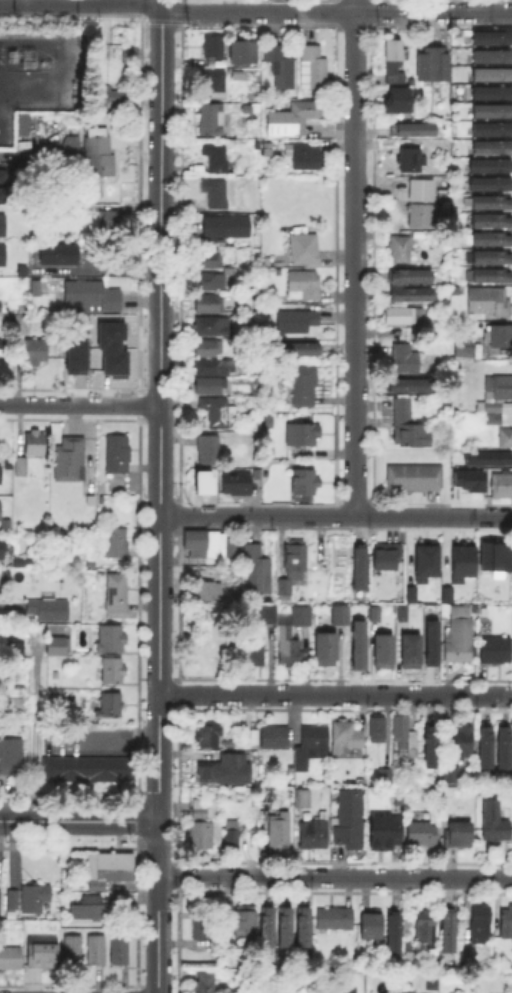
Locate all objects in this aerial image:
road: (81, 2)
road: (162, 4)
road: (433, 12)
road: (258, 13)
building: (493, 38)
building: (214, 47)
building: (243, 52)
building: (131, 54)
building: (393, 57)
building: (493, 57)
building: (435, 65)
building: (283, 66)
building: (314, 70)
power substation: (38, 74)
building: (493, 76)
building: (217, 82)
building: (490, 91)
building: (113, 94)
building: (399, 99)
building: (248, 109)
building: (493, 113)
building: (296, 119)
building: (214, 121)
building: (493, 130)
building: (416, 131)
building: (269, 149)
building: (493, 149)
building: (72, 151)
building: (96, 152)
building: (217, 156)
building: (308, 157)
building: (412, 159)
building: (492, 164)
building: (1, 174)
building: (492, 183)
building: (422, 191)
building: (2, 193)
building: (218, 193)
building: (493, 203)
building: (78, 211)
building: (424, 216)
building: (492, 223)
building: (111, 224)
building: (3, 226)
building: (228, 227)
building: (493, 241)
building: (402, 249)
building: (306, 250)
building: (61, 255)
building: (3, 256)
road: (355, 257)
building: (492, 259)
building: (211, 260)
building: (492, 277)
building: (412, 278)
building: (212, 282)
building: (305, 284)
building: (95, 295)
building: (412, 295)
building: (490, 302)
building: (1, 305)
building: (210, 306)
building: (405, 315)
building: (20, 319)
building: (299, 321)
building: (214, 327)
building: (108, 334)
building: (501, 338)
building: (467, 348)
building: (206, 349)
building: (74, 350)
building: (296, 350)
building: (36, 352)
building: (3, 356)
building: (406, 361)
building: (112, 362)
building: (214, 368)
building: (304, 386)
building: (210, 387)
building: (411, 387)
building: (497, 395)
road: (80, 404)
building: (215, 413)
road: (160, 414)
building: (494, 421)
building: (409, 427)
building: (303, 435)
building: (506, 437)
building: (36, 444)
building: (209, 449)
building: (118, 454)
building: (486, 457)
building: (70, 459)
building: (22, 467)
building: (1, 475)
building: (416, 478)
building: (466, 480)
building: (237, 484)
building: (306, 484)
building: (501, 487)
building: (1, 510)
road: (336, 515)
building: (208, 543)
building: (119, 544)
building: (3, 550)
building: (493, 555)
building: (389, 559)
building: (20, 560)
building: (423, 560)
building: (460, 561)
building: (357, 564)
building: (293, 567)
building: (232, 568)
building: (259, 571)
building: (3, 572)
building: (209, 591)
building: (118, 593)
building: (409, 593)
building: (445, 593)
building: (50, 610)
building: (372, 612)
building: (270, 614)
building: (339, 614)
building: (304, 615)
building: (398, 619)
building: (458, 639)
building: (112, 640)
building: (429, 642)
building: (209, 643)
building: (356, 643)
building: (15, 644)
building: (58, 647)
building: (290, 647)
building: (380, 649)
building: (252, 650)
building: (328, 650)
building: (496, 651)
building: (406, 655)
building: (114, 672)
road: (335, 693)
building: (113, 705)
building: (376, 726)
road: (35, 729)
road: (118, 731)
building: (345, 733)
building: (274, 736)
building: (210, 737)
building: (407, 739)
building: (461, 741)
building: (484, 743)
building: (502, 743)
building: (230, 744)
building: (310, 744)
building: (430, 744)
building: (11, 757)
building: (225, 767)
building: (88, 771)
building: (383, 775)
building: (452, 776)
building: (264, 795)
building: (301, 796)
building: (387, 800)
building: (205, 810)
building: (348, 817)
building: (494, 820)
road: (79, 821)
building: (278, 828)
building: (382, 830)
building: (312, 834)
building: (424, 835)
building: (461, 836)
building: (200, 837)
building: (230, 837)
building: (109, 866)
road: (335, 877)
building: (13, 899)
building: (0, 900)
building: (35, 900)
building: (92, 906)
road: (158, 906)
building: (338, 920)
building: (243, 921)
building: (479, 921)
building: (370, 924)
building: (265, 925)
building: (507, 925)
building: (283, 926)
building: (302, 926)
building: (447, 926)
building: (427, 927)
building: (204, 930)
building: (393, 931)
building: (496, 945)
building: (70, 948)
building: (93, 948)
building: (117, 948)
building: (43, 953)
building: (11, 959)
building: (205, 982)
building: (350, 984)
building: (283, 990)

